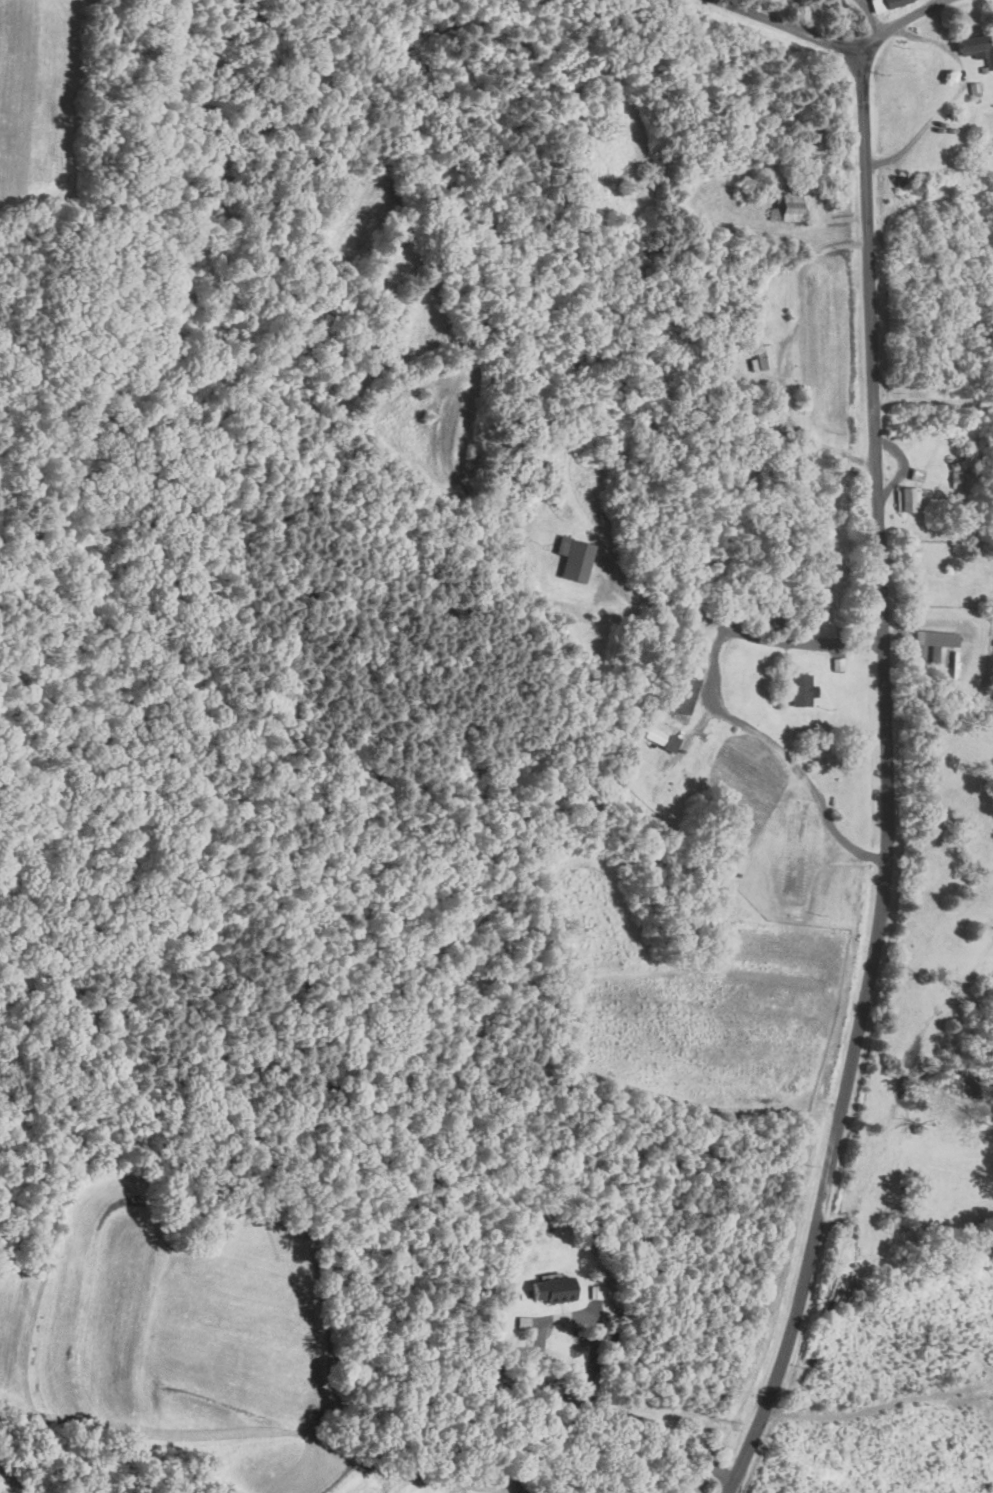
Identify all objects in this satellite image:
building: (883, 3)
road: (871, 16)
road: (844, 43)
building: (976, 47)
building: (975, 86)
road: (956, 93)
building: (911, 181)
building: (788, 206)
building: (761, 357)
building: (916, 473)
building: (906, 498)
building: (573, 557)
building: (932, 642)
building: (800, 689)
building: (683, 692)
road: (716, 707)
building: (660, 737)
road: (886, 781)
building: (550, 1290)
road: (540, 1395)

